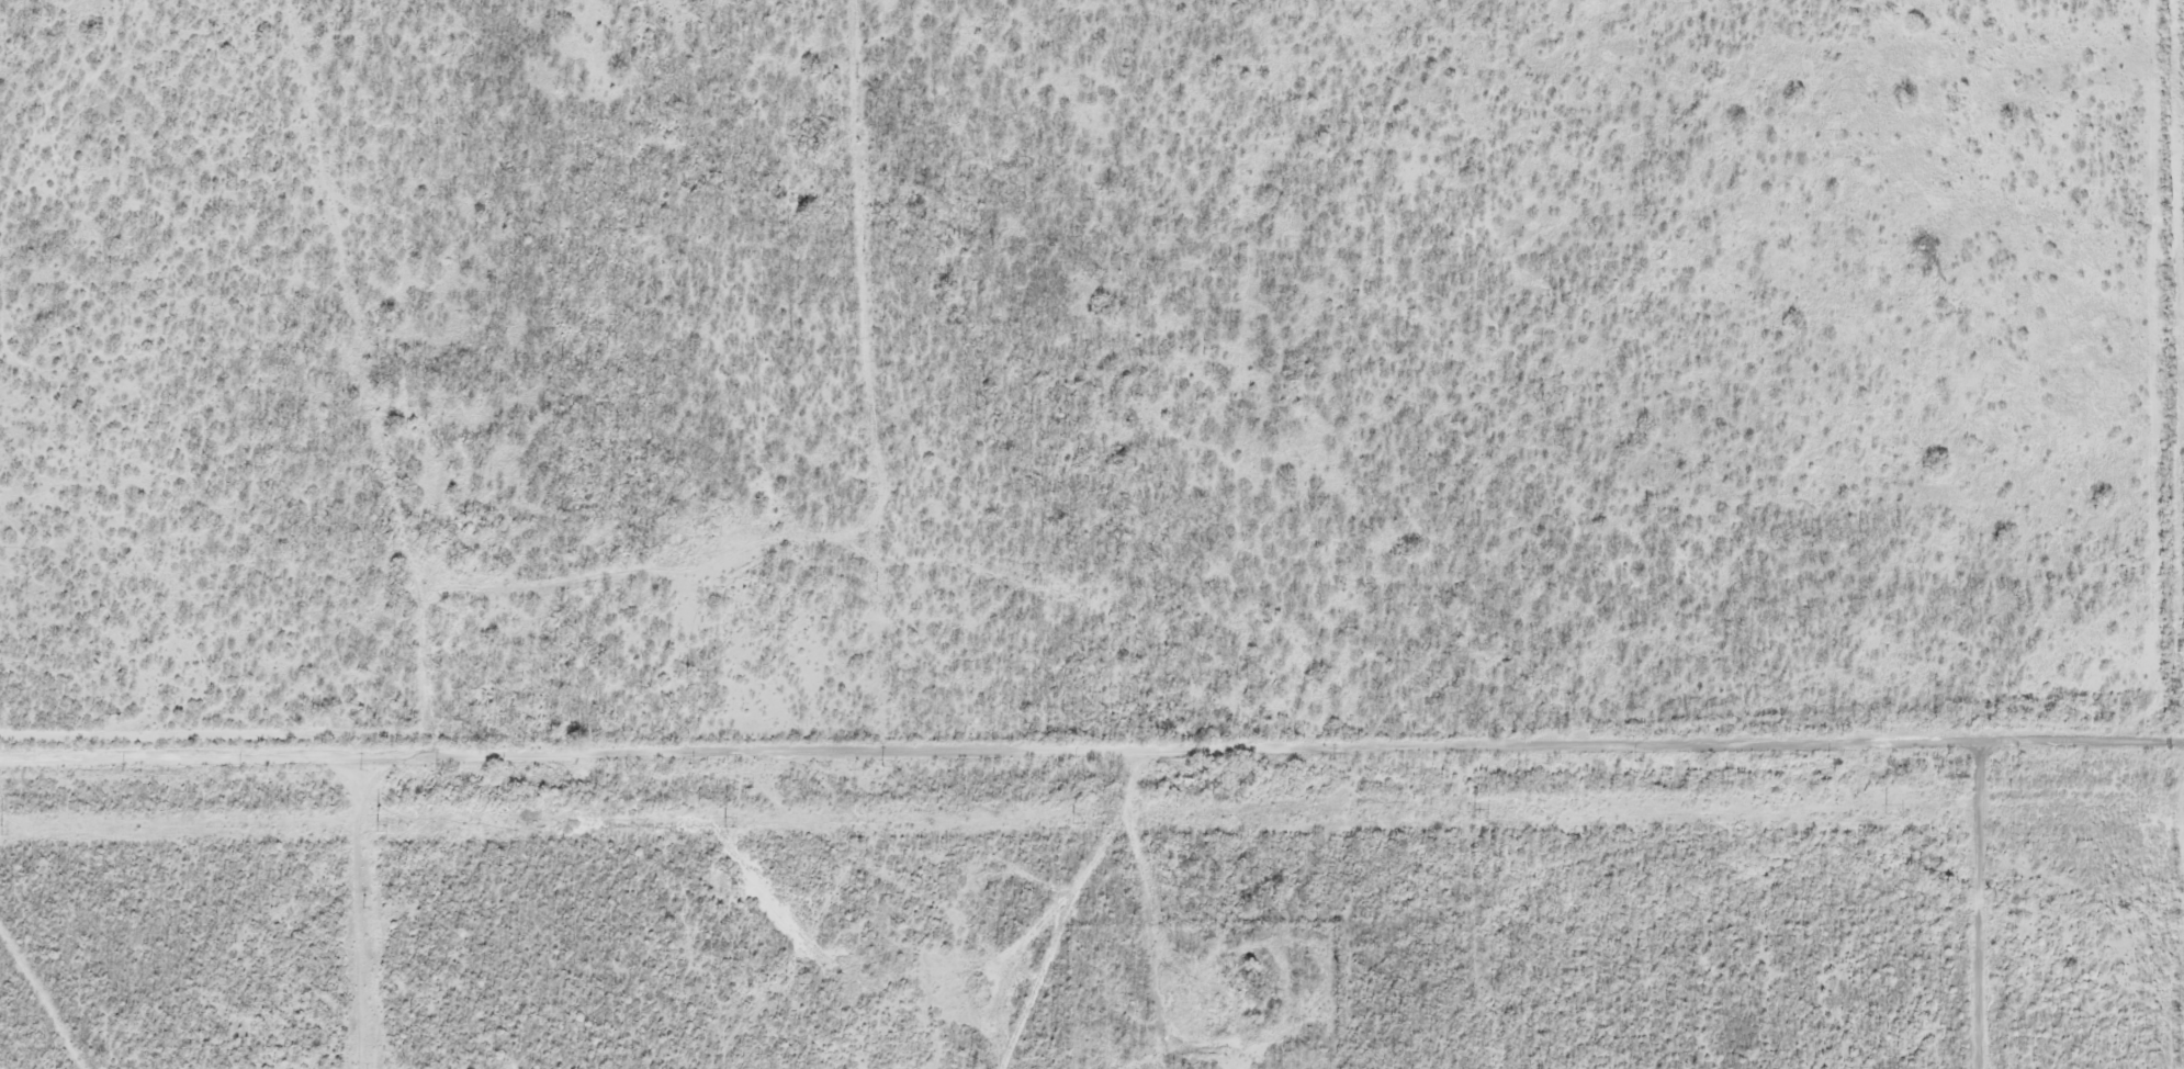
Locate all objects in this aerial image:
road: (1092, 749)
power tower: (1887, 808)
power tower: (1477, 812)
power tower: (1073, 817)
power tower: (724, 822)
power tower: (376, 824)
power tower: (3, 829)
road: (1975, 896)

